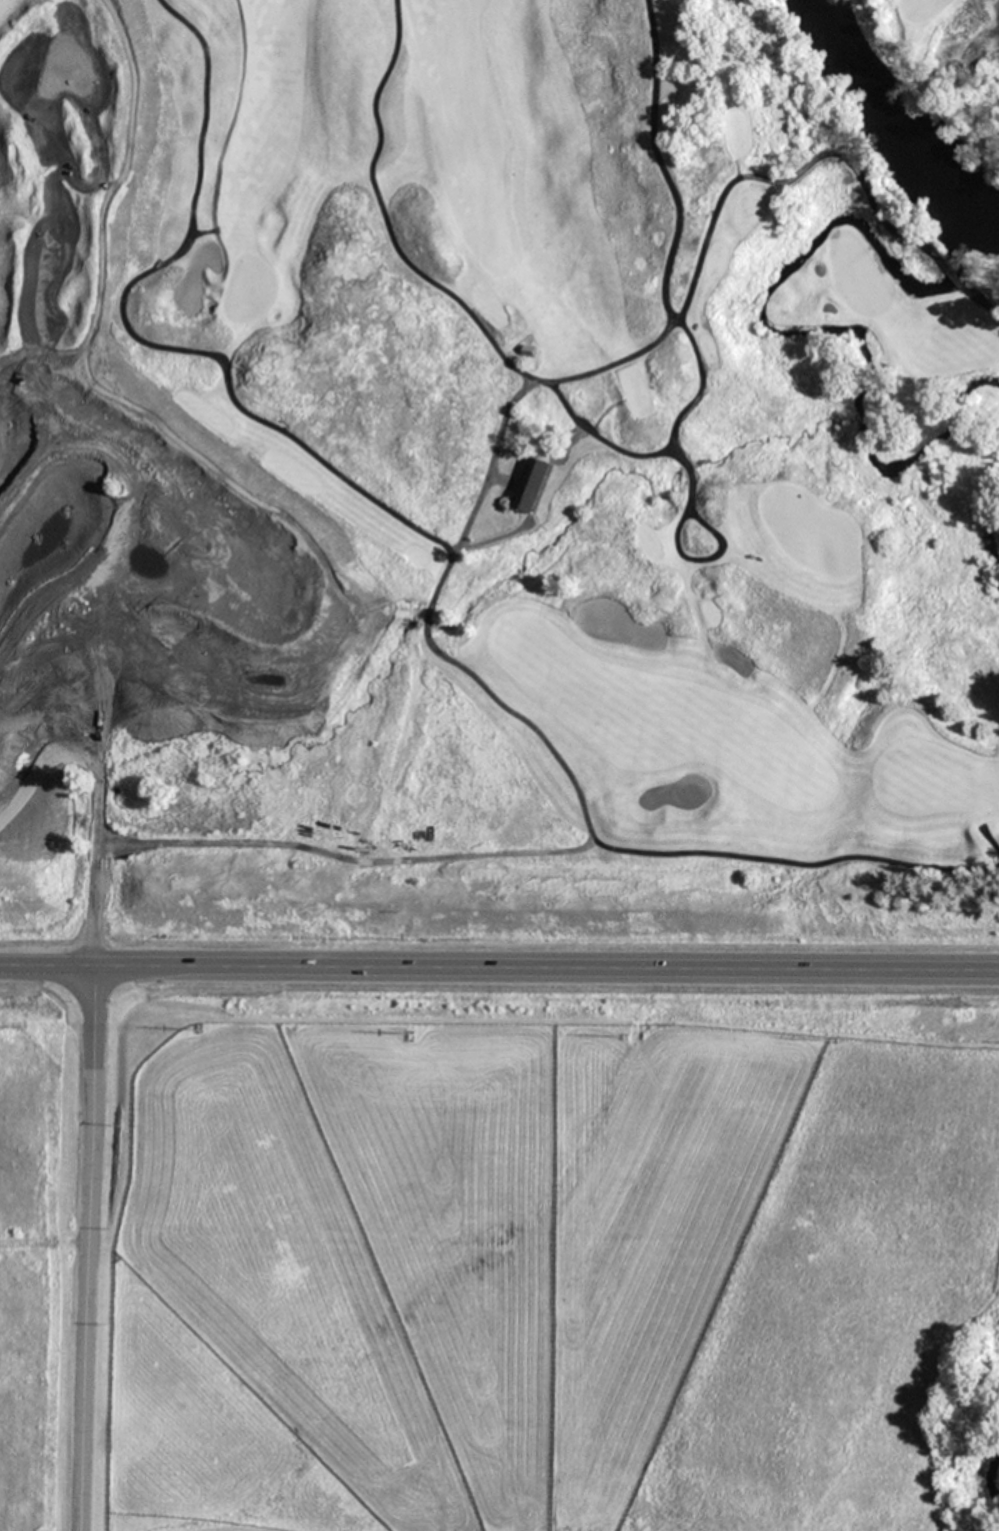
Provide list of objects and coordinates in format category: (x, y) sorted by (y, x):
park: (921, 10)
river: (895, 121)
park: (499, 478)
building: (531, 484)
road: (441, 546)
road: (499, 967)
road: (88, 1248)
crop: (487, 1250)

